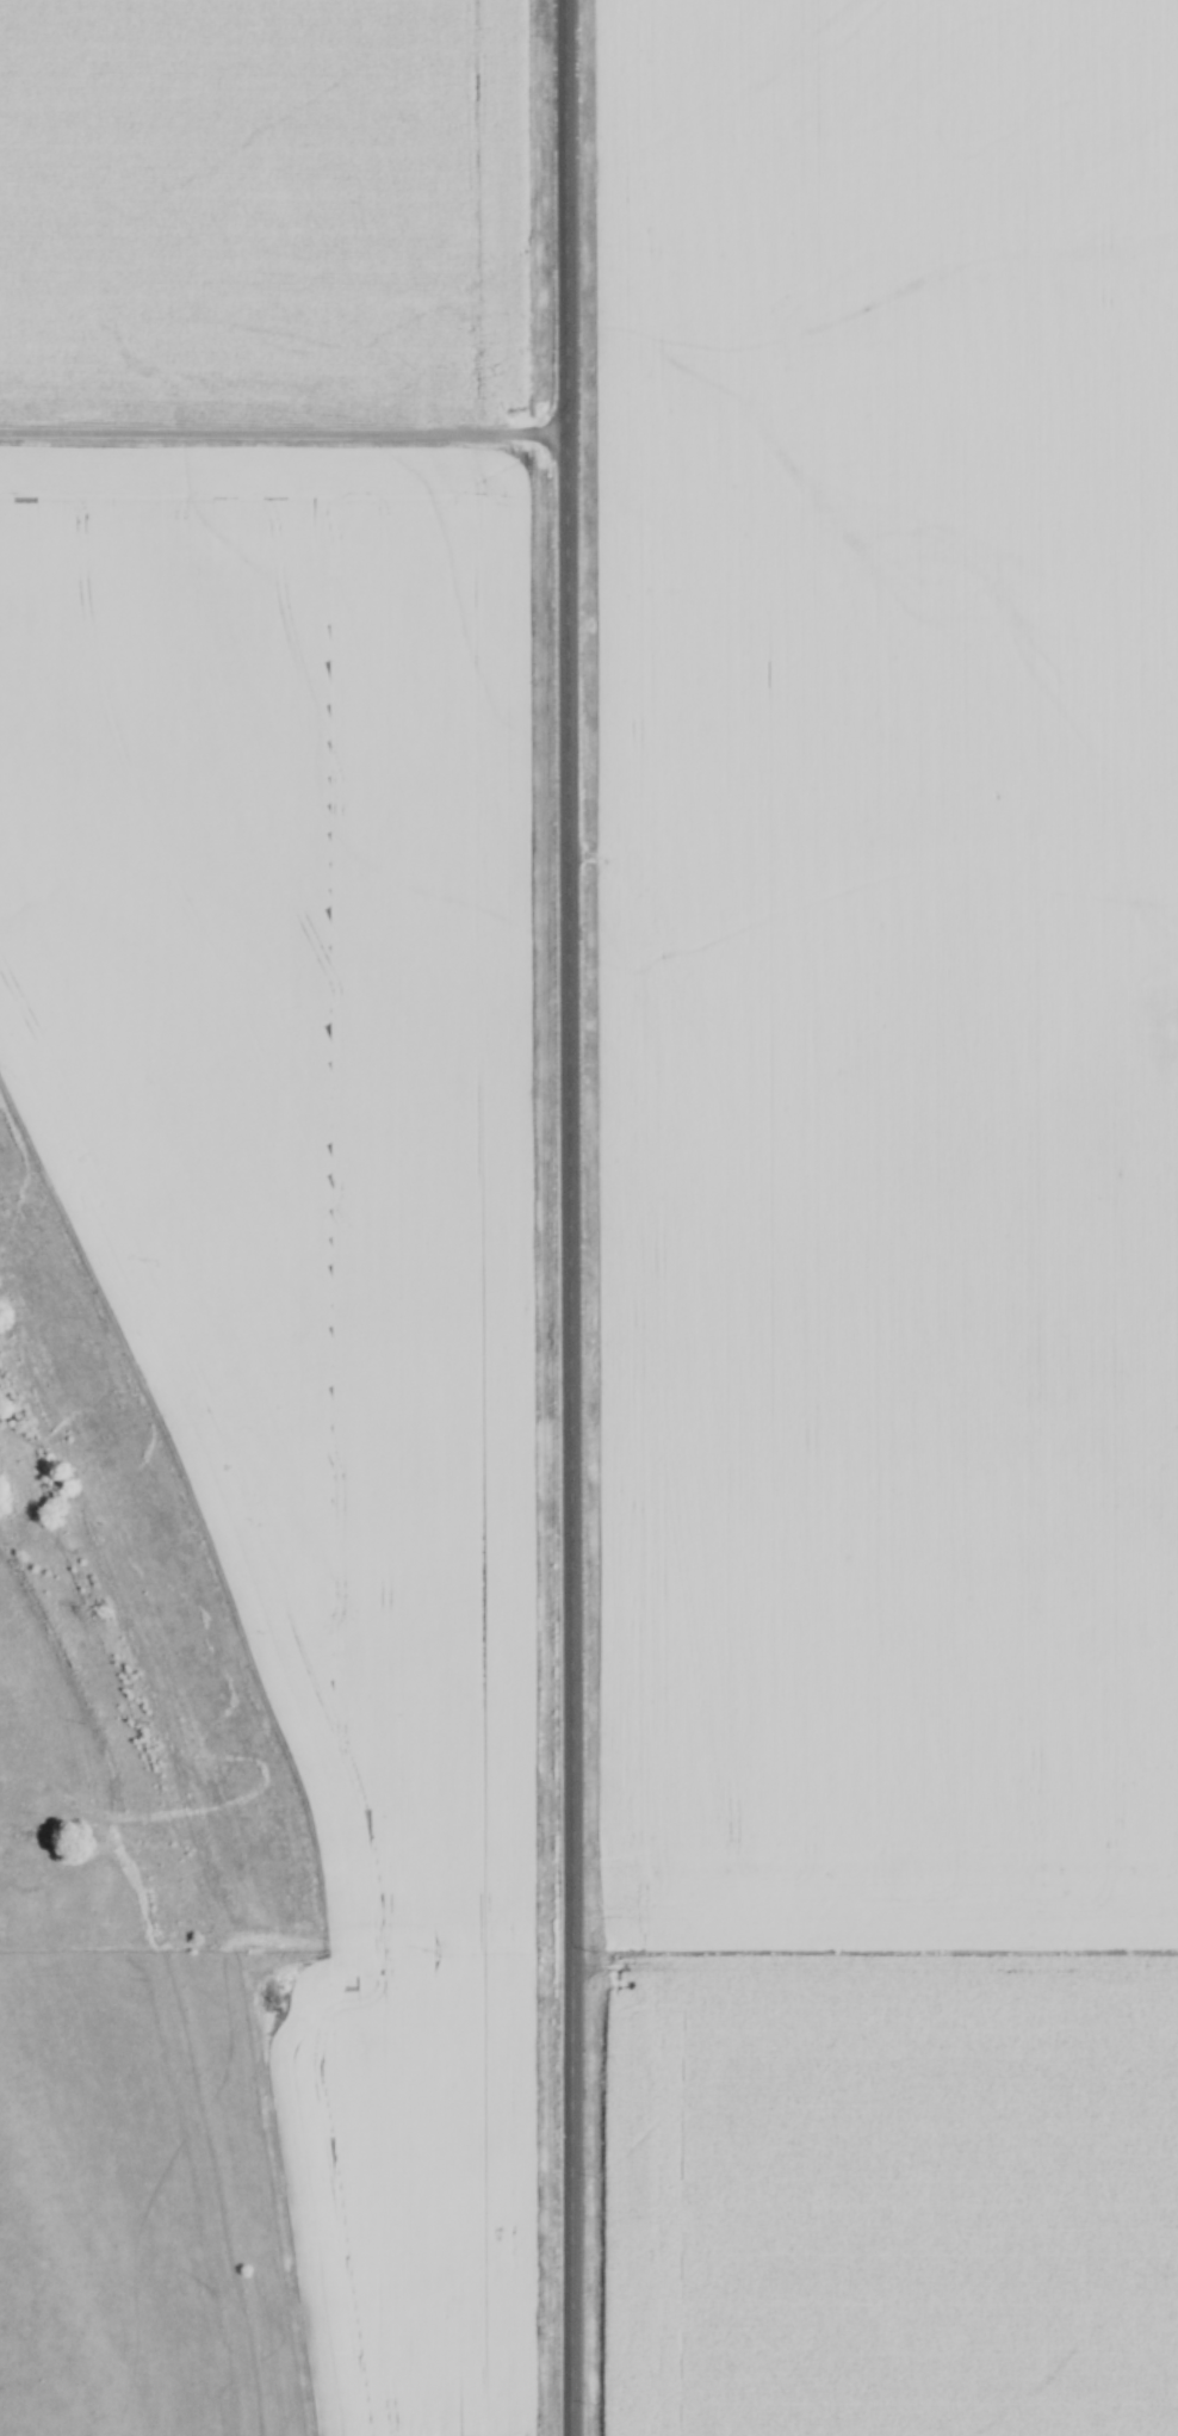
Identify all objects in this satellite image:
crop: (262, 205)
road: (281, 429)
road: (569, 1218)

